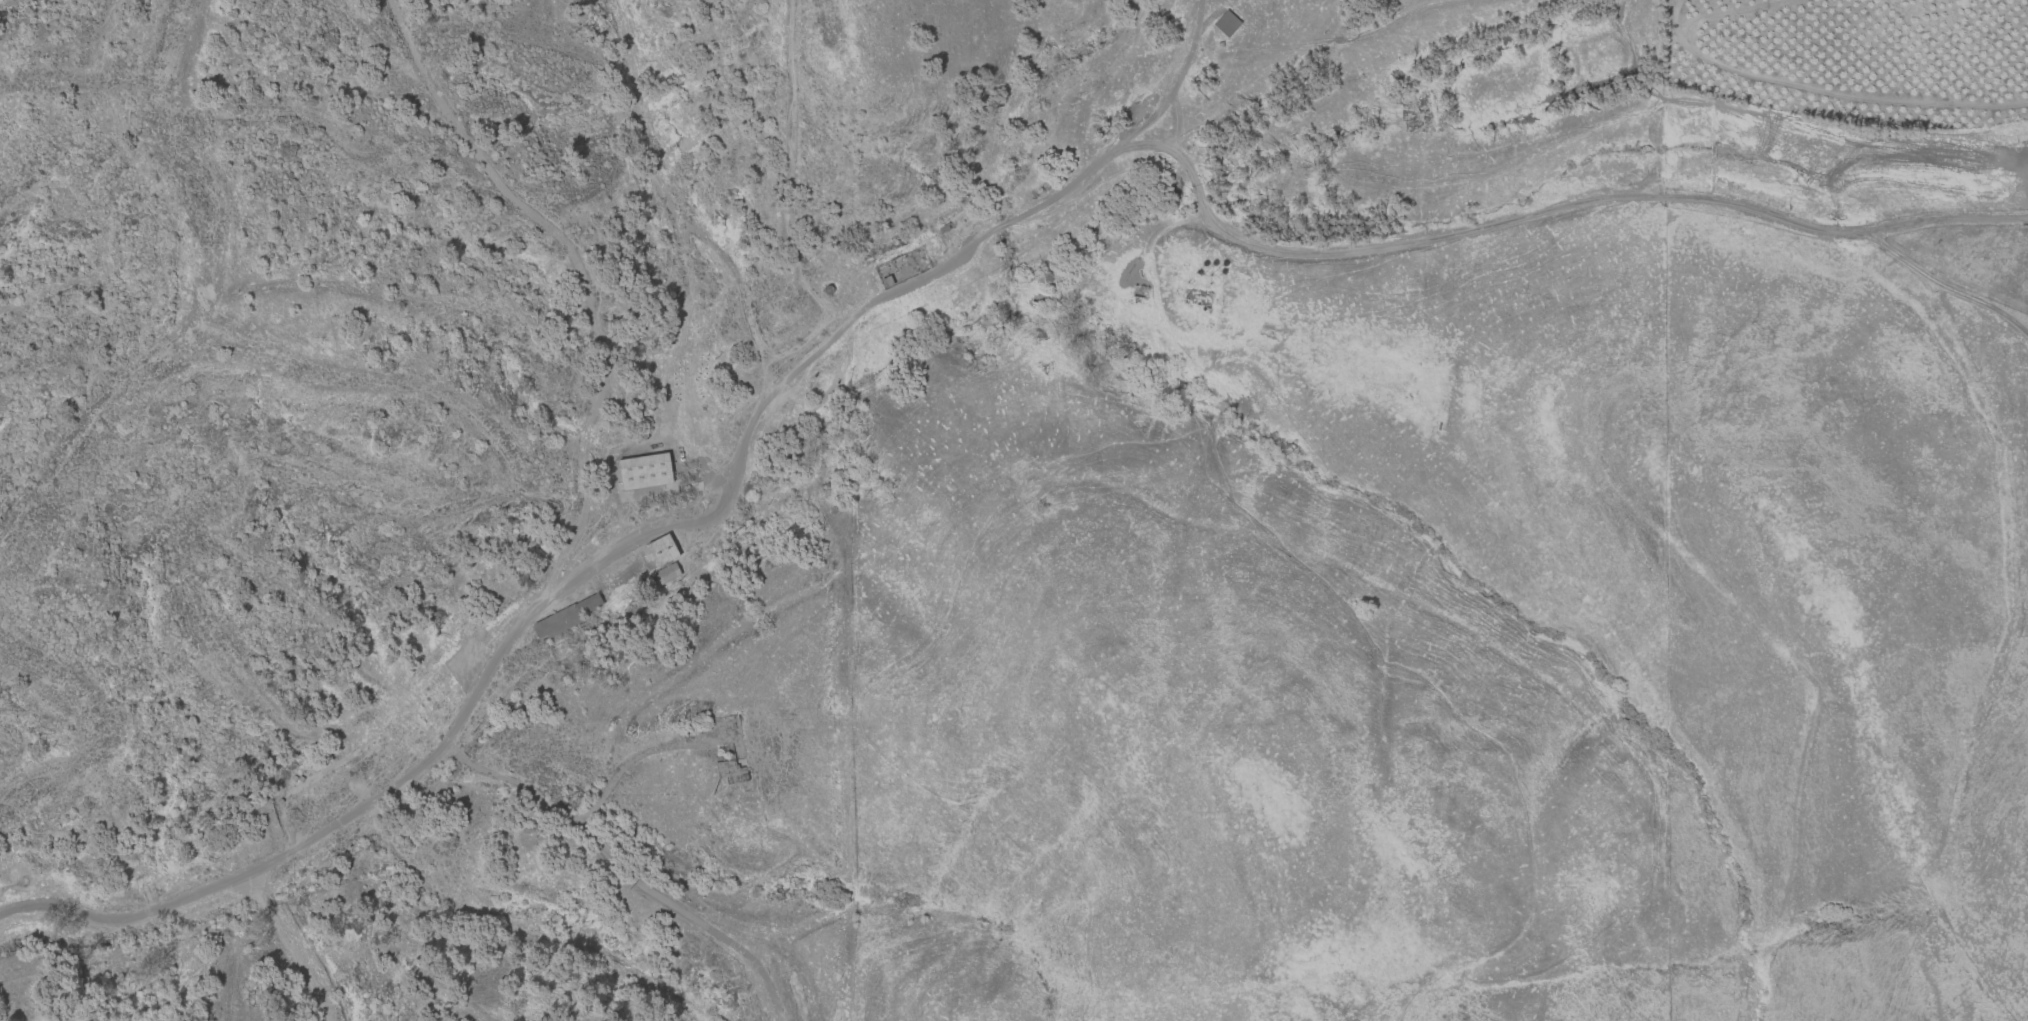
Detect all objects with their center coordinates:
road: (1551, 212)
building: (643, 472)
road: (655, 532)
building: (661, 550)
building: (666, 574)
road: (627, 870)
road: (290, 946)

